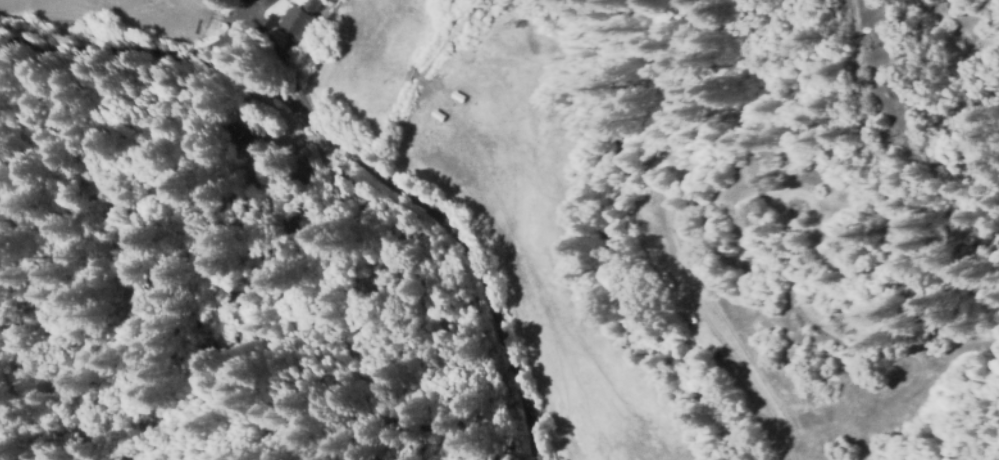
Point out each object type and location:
building: (301, 22)
building: (225, 129)
road: (344, 151)

